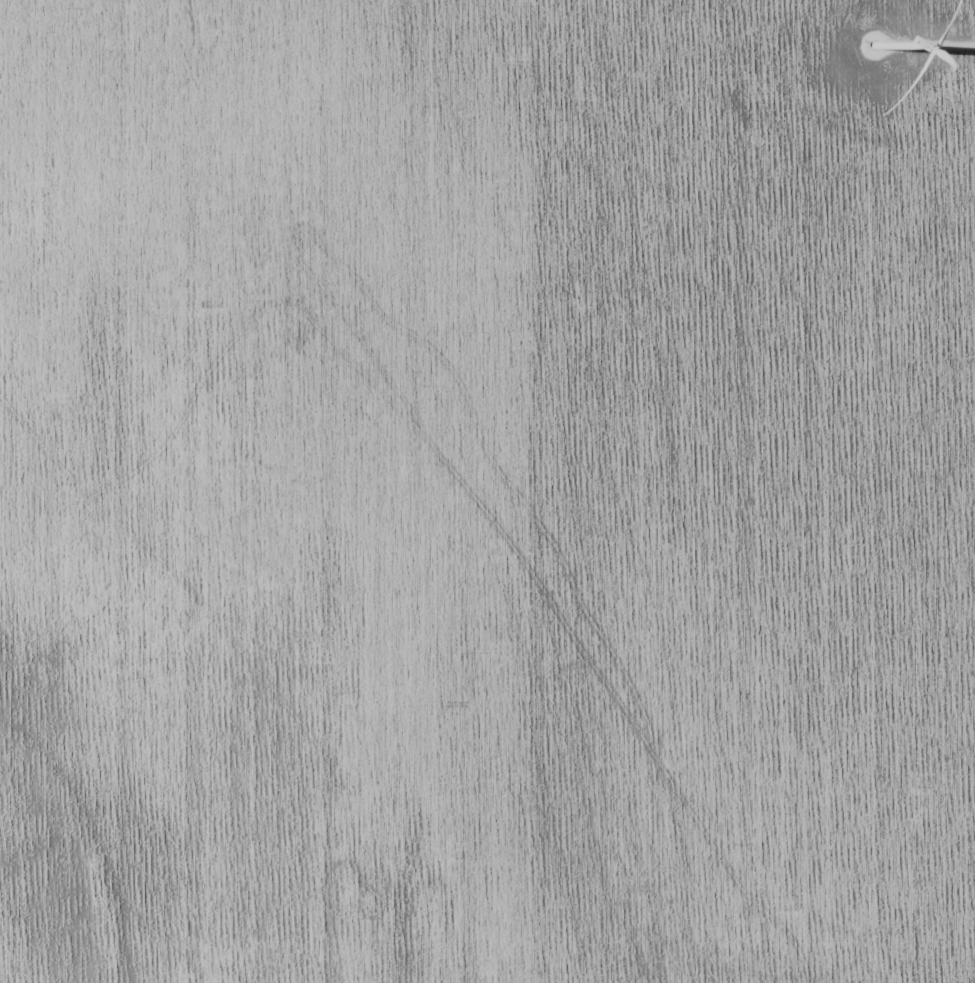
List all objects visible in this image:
wind turbine: (879, 45)

